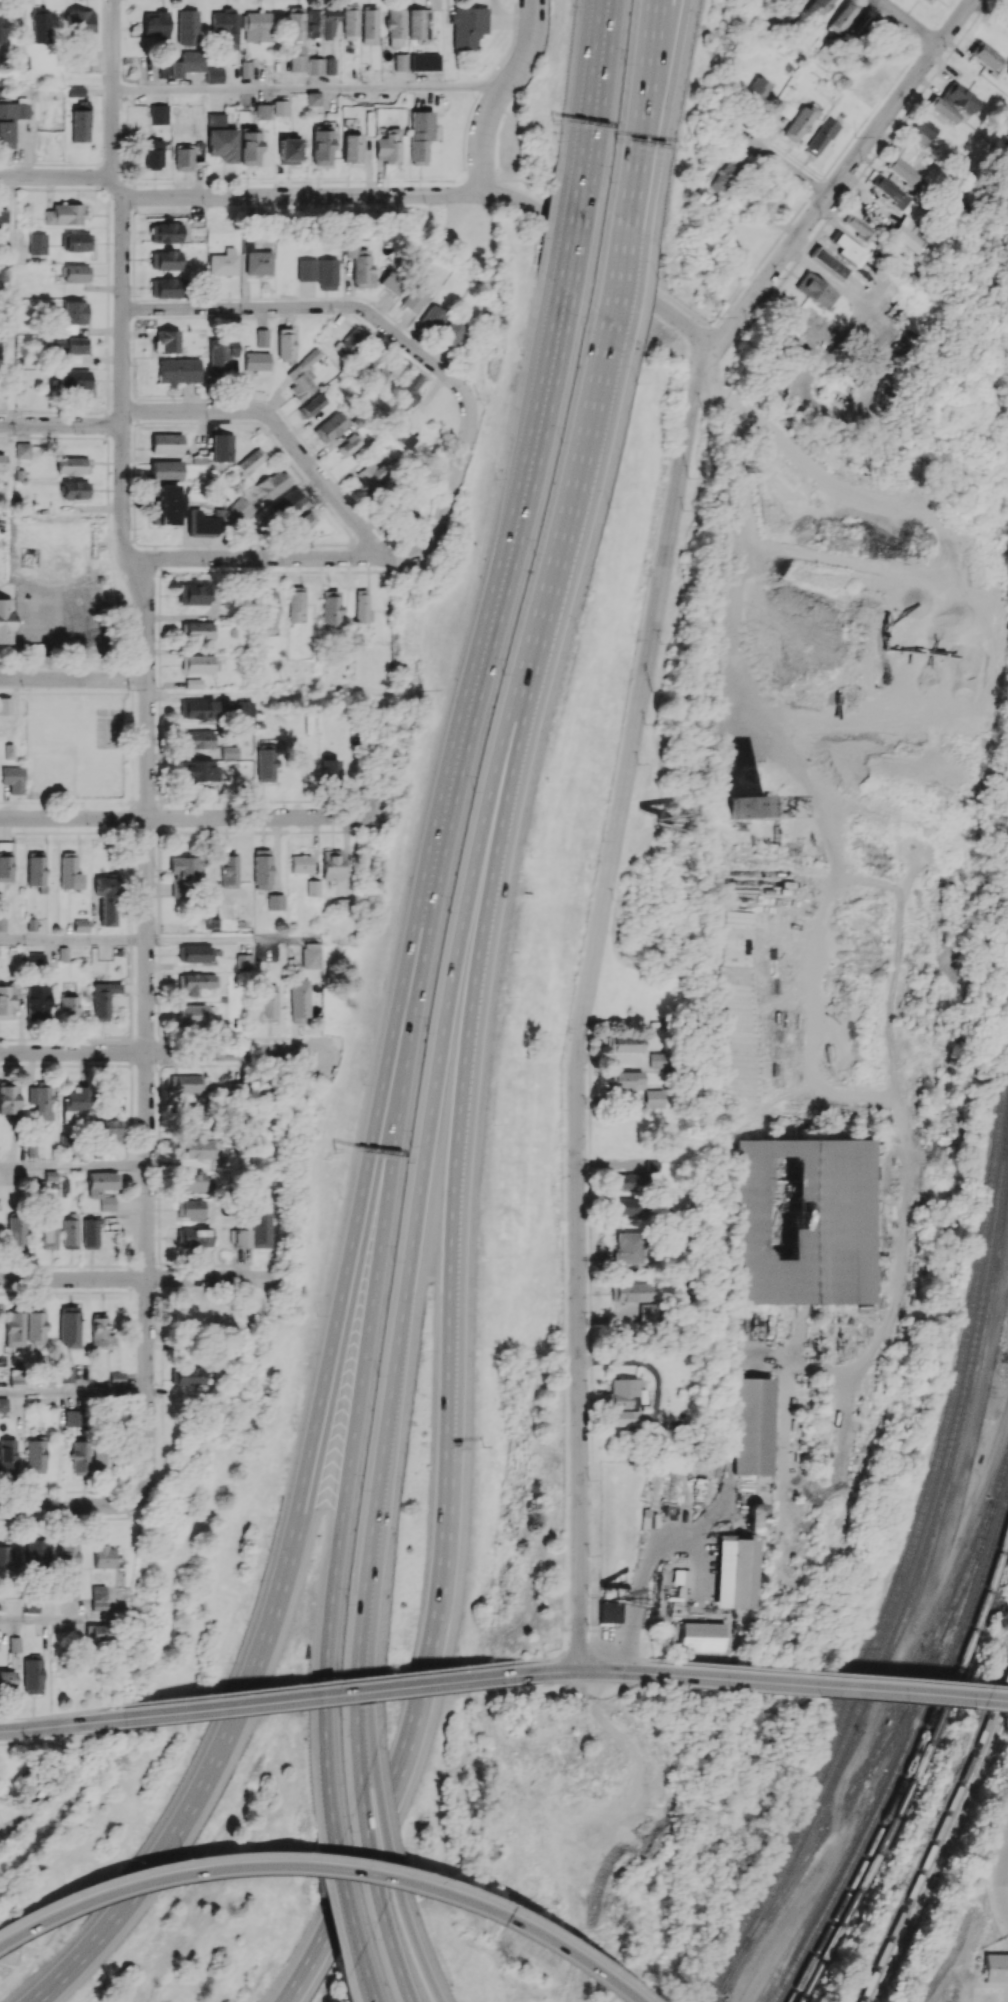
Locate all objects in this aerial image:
street lamp: (571, 5)
building: (819, 7)
building: (842, 16)
building: (1005, 18)
building: (350, 20)
building: (79, 21)
road: (909, 22)
building: (294, 23)
building: (314, 23)
building: (330, 23)
building: (418, 23)
building: (155, 24)
building: (369, 24)
building: (2, 25)
building: (40, 25)
building: (187, 26)
building: (257, 26)
building: (468, 26)
street lamp: (697, 26)
building: (225, 27)
building: (395, 27)
building: (985, 55)
road: (648, 59)
road: (661, 60)
building: (81, 61)
building: (424, 61)
building: (297, 62)
building: (400, 62)
building: (188, 63)
street lamp: (624, 64)
building: (330, 65)
building: (315, 66)
building: (245, 69)
building: (163, 70)
building: (214, 75)
road: (309, 87)
road: (591, 91)
building: (756, 91)
road: (500, 94)
building: (960, 98)
building: (313, 101)
building: (281, 107)
building: (943, 109)
building: (263, 111)
building: (159, 114)
building: (11, 121)
building: (80, 122)
building: (797, 123)
building: (923, 131)
building: (420, 135)
building: (819, 137)
building: (221, 138)
street lamp: (553, 139)
building: (321, 146)
building: (388, 146)
building: (249, 147)
building: (351, 147)
building: (288, 150)
building: (153, 154)
road: (773, 157)
building: (183, 159)
street lamp: (672, 159)
road: (639, 172)
building: (904, 172)
road: (844, 174)
road: (57, 176)
building: (726, 177)
street lamp: (608, 181)
building: (892, 192)
road: (443, 194)
building: (770, 202)
building: (66, 214)
building: (3, 218)
building: (858, 226)
building: (164, 232)
building: (913, 234)
road: (569, 235)
building: (76, 241)
building: (37, 243)
building: (245, 244)
building: (849, 250)
building: (165, 260)
building: (223, 262)
building: (258, 262)
building: (829, 262)
building: (357, 263)
building: (77, 272)
building: (317, 272)
road: (621, 274)
building: (391, 281)
building: (166, 287)
building: (815, 290)
road: (10, 300)
building: (412, 300)
road: (316, 306)
building: (71, 316)
building: (431, 317)
building: (450, 333)
building: (261, 337)
building: (351, 338)
building: (167, 341)
building: (284, 344)
building: (70, 348)
building: (220, 354)
building: (256, 361)
building: (177, 371)
building: (386, 371)
building: (302, 376)
building: (74, 379)
building: (407, 389)
building: (311, 404)
road: (225, 410)
building: (330, 426)
building: (166, 443)
building: (350, 444)
building: (221, 447)
building: (23, 450)
building: (250, 460)
building: (2, 461)
building: (72, 465)
road: (457, 467)
building: (166, 469)
building: (370, 475)
building: (273, 483)
building: (75, 489)
road: (575, 499)
building: (287, 502)
building: (167, 503)
building: (241, 509)
building: (303, 521)
building: (200, 524)
road: (291, 558)
building: (196, 594)
building: (296, 604)
building: (362, 606)
road: (492, 607)
building: (268, 609)
building: (330, 609)
road: (50, 615)
road: (773, 617)
building: (5, 621)
building: (197, 630)
building: (35, 650)
building: (199, 663)
road: (74, 679)
building: (5, 706)
building: (197, 709)
building: (244, 714)
railway: (887, 732)
building: (199, 739)
road: (147, 746)
building: (229, 752)
building: (265, 764)
building: (330, 769)
building: (200, 771)
building: (12, 778)
building: (749, 807)
road: (185, 817)
building: (300, 863)
building: (332, 864)
building: (6, 866)
building: (36, 868)
building: (262, 868)
building: (229, 869)
building: (69, 871)
building: (184, 873)
building: (313, 887)
building: (106, 899)
building: (275, 901)
building: (342, 906)
building: (2, 923)
building: (81, 925)
road: (73, 939)
road: (231, 939)
building: (195, 953)
building: (311, 955)
building: (35, 959)
building: (243, 962)
railway: (974, 981)
building: (195, 982)
building: (102, 999)
building: (6, 1001)
building: (37, 1001)
building: (299, 1001)
road: (586, 1001)
building: (268, 1002)
building: (68, 1006)
building: (194, 1013)
railway: (898, 1019)
building: (625, 1043)
road: (160, 1052)
building: (657, 1060)
road: (467, 1062)
road: (438, 1065)
building: (627, 1079)
building: (187, 1083)
building: (76, 1098)
building: (654, 1098)
building: (9, 1099)
building: (40, 1099)
building: (193, 1110)
building: (107, 1129)
building: (64, 1141)
building: (31, 1149)
building: (193, 1149)
road: (73, 1166)
building: (193, 1180)
building: (627, 1181)
railway: (951, 1187)
building: (103, 1188)
building: (628, 1207)
building: (191, 1209)
building: (806, 1221)
building: (262, 1229)
building: (15, 1232)
building: (48, 1232)
building: (69, 1232)
building: (90, 1233)
building: (194, 1237)
building: (241, 1237)
building: (627, 1247)
road: (137, 1279)
building: (628, 1292)
building: (645, 1312)
building: (35, 1324)
building: (69, 1326)
building: (14, 1329)
building: (98, 1329)
road: (648, 1366)
building: (66, 1375)
building: (186, 1375)
building: (16, 1378)
road: (359, 1383)
road: (73, 1392)
building: (625, 1393)
building: (4, 1404)
building: (73, 1418)
building: (621, 1418)
building: (753, 1426)
building: (35, 1455)
building: (8, 1457)
building: (79, 1457)
building: (101, 1459)
railway: (1000, 1492)
road: (304, 1497)
road: (70, 1505)
building: (755, 1519)
railway: (911, 1549)
building: (37, 1553)
building: (8, 1556)
building: (104, 1557)
building: (68, 1559)
road: (371, 1560)
railway: (915, 1565)
building: (734, 1572)
building: (682, 1577)
building: (69, 1588)
road: (637, 1596)
building: (98, 1598)
building: (32, 1605)
building: (608, 1612)
road: (57, 1619)
building: (98, 1632)
building: (704, 1636)
building: (14, 1644)
road: (596, 1653)
road: (547, 1671)
road: (615, 1671)
road: (828, 1672)
building: (32, 1675)
building: (7, 1680)
road: (302, 1683)
road: (829, 1686)
road: (320, 1696)
road: (366, 1705)
road: (29, 1717)
road: (356, 1722)
road: (62, 1725)
road: (18, 1742)
road: (410, 1742)
railway: (879, 1751)
railway: (915, 1759)
railway: (900, 1767)
railway: (919, 1775)
building: (26, 1780)
road: (381, 1822)
road: (2, 1829)
railway: (935, 1842)
road: (371, 1851)
railway: (942, 1854)
road: (320, 1867)
road: (1003, 1870)
road: (345, 1897)
road: (788, 1922)
road: (415, 1945)
road: (395, 1956)
building: (996, 1967)
road: (366, 1976)
railway: (724, 1984)

